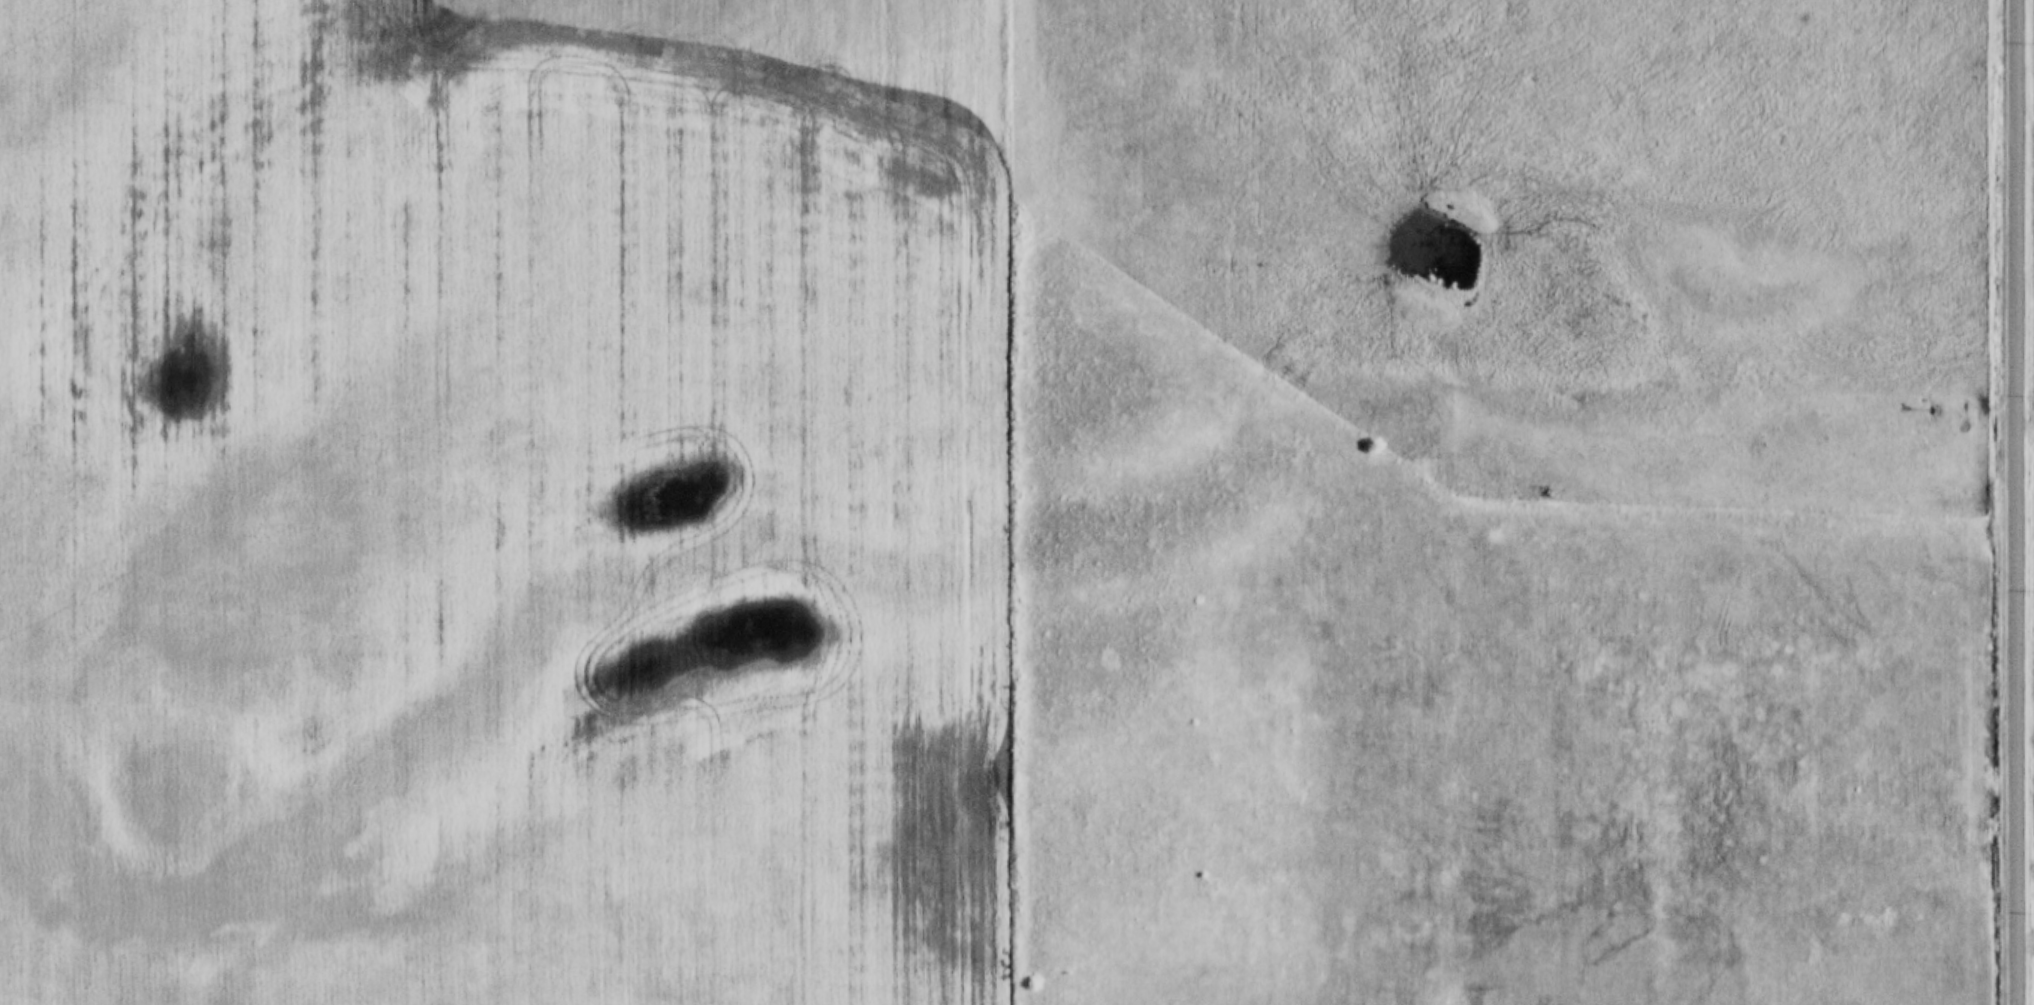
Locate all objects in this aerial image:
road: (2012, 502)

